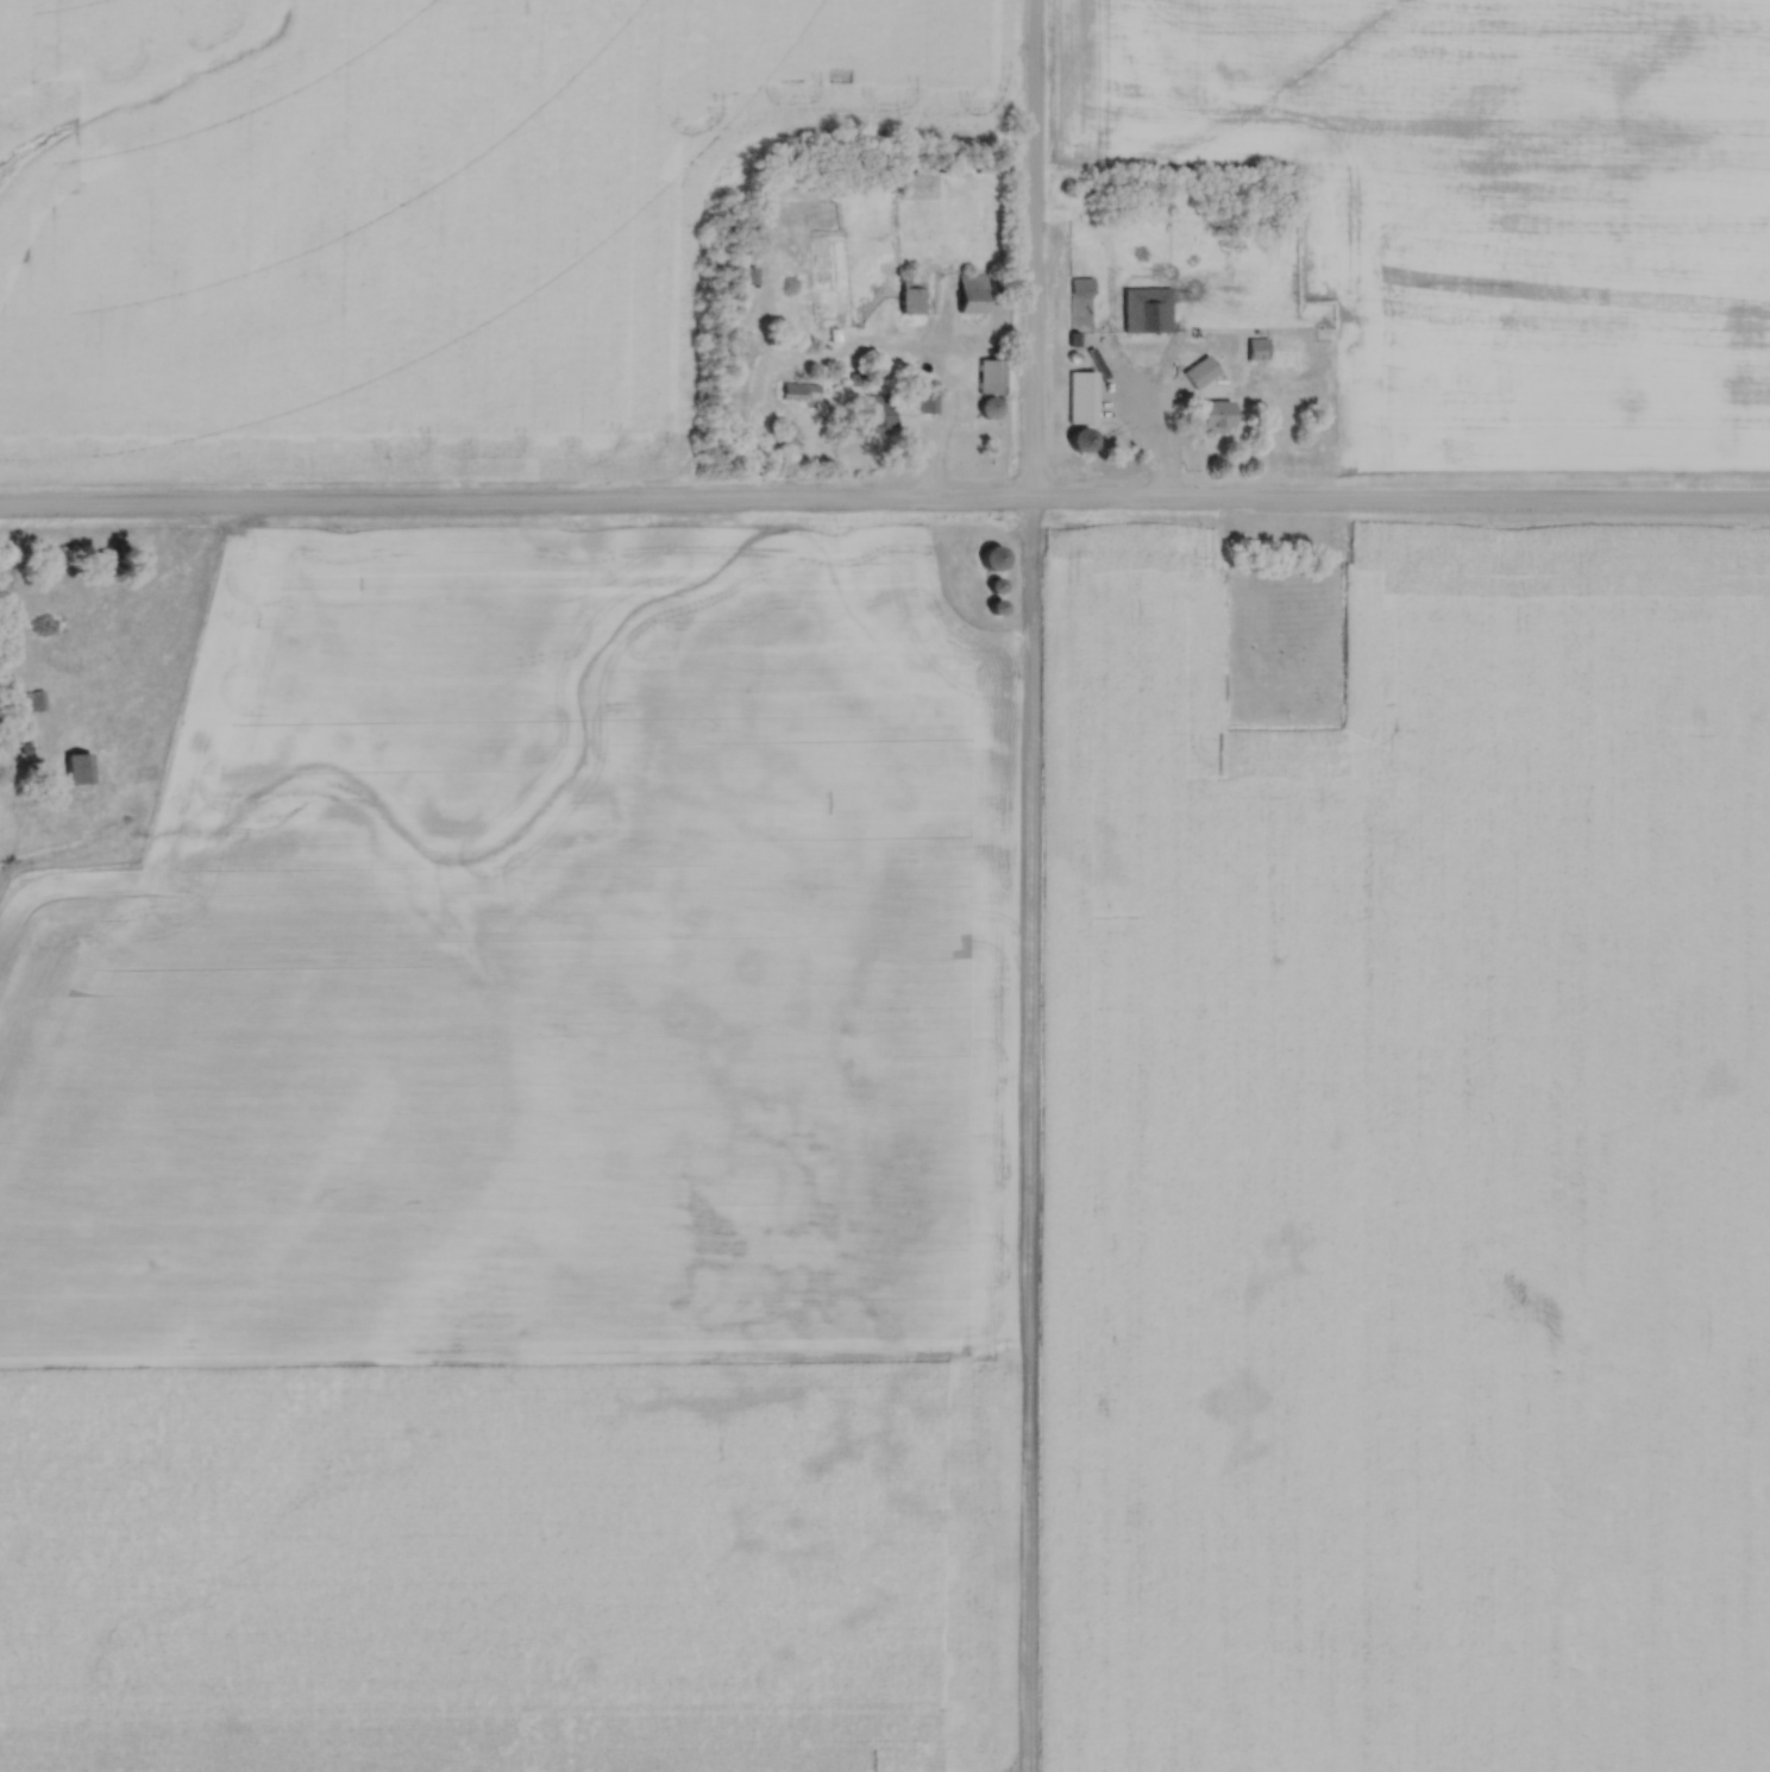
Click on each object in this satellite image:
building: (921, 172)
building: (1079, 287)
building: (968, 295)
building: (908, 297)
building: (1144, 312)
building: (1255, 351)
building: (1198, 375)
building: (990, 378)
building: (1079, 400)
building: (925, 406)
building: (873, 415)
road: (947, 415)
building: (1212, 417)
road: (1148, 440)
building: (1075, 442)
road: (884, 507)
building: (990, 559)
road: (172, 612)
park: (1280, 641)
building: (29, 704)
building: (120, 728)
building: (76, 773)
road: (1029, 885)

